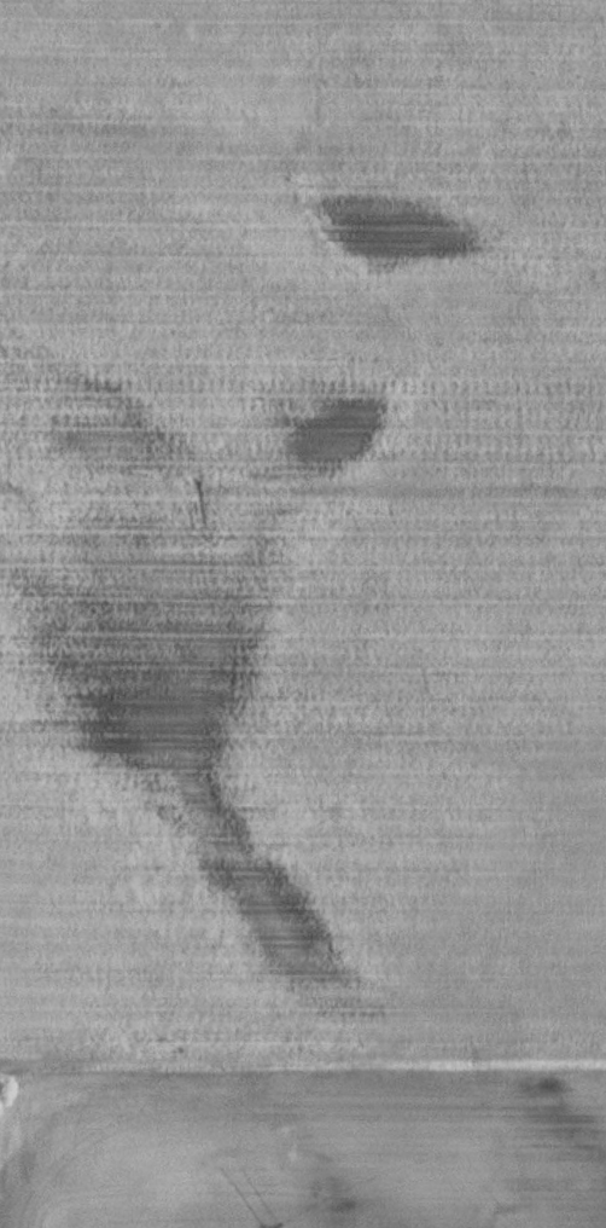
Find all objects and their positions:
road: (303, 488)
road: (325, 1082)

